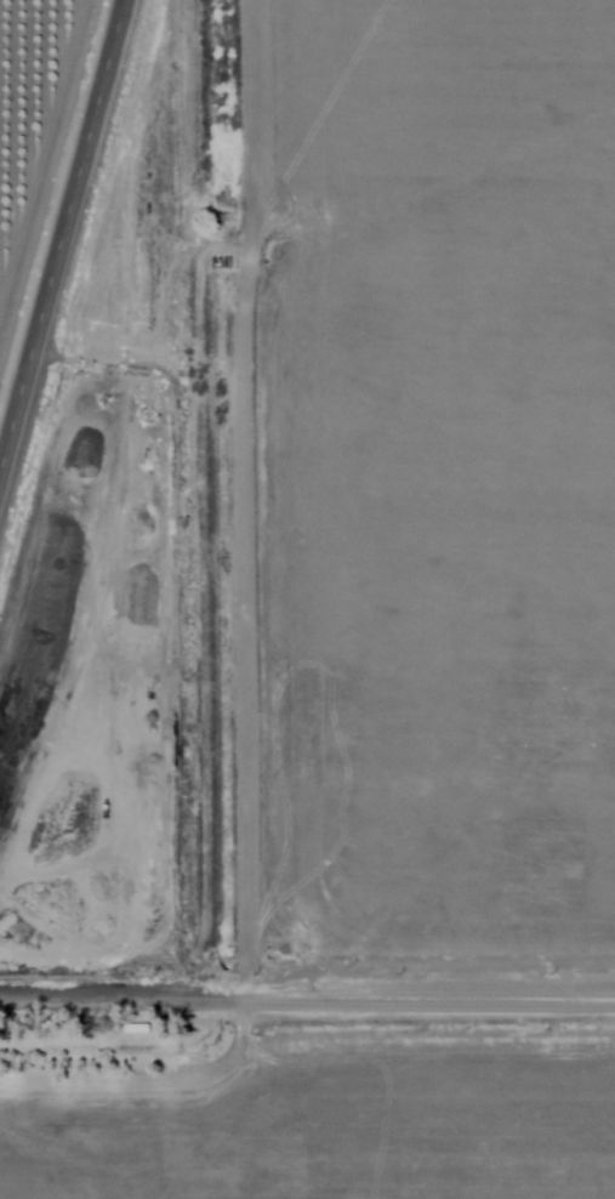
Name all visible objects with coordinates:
crop: (38, 147)
road: (57, 232)
road: (307, 994)

